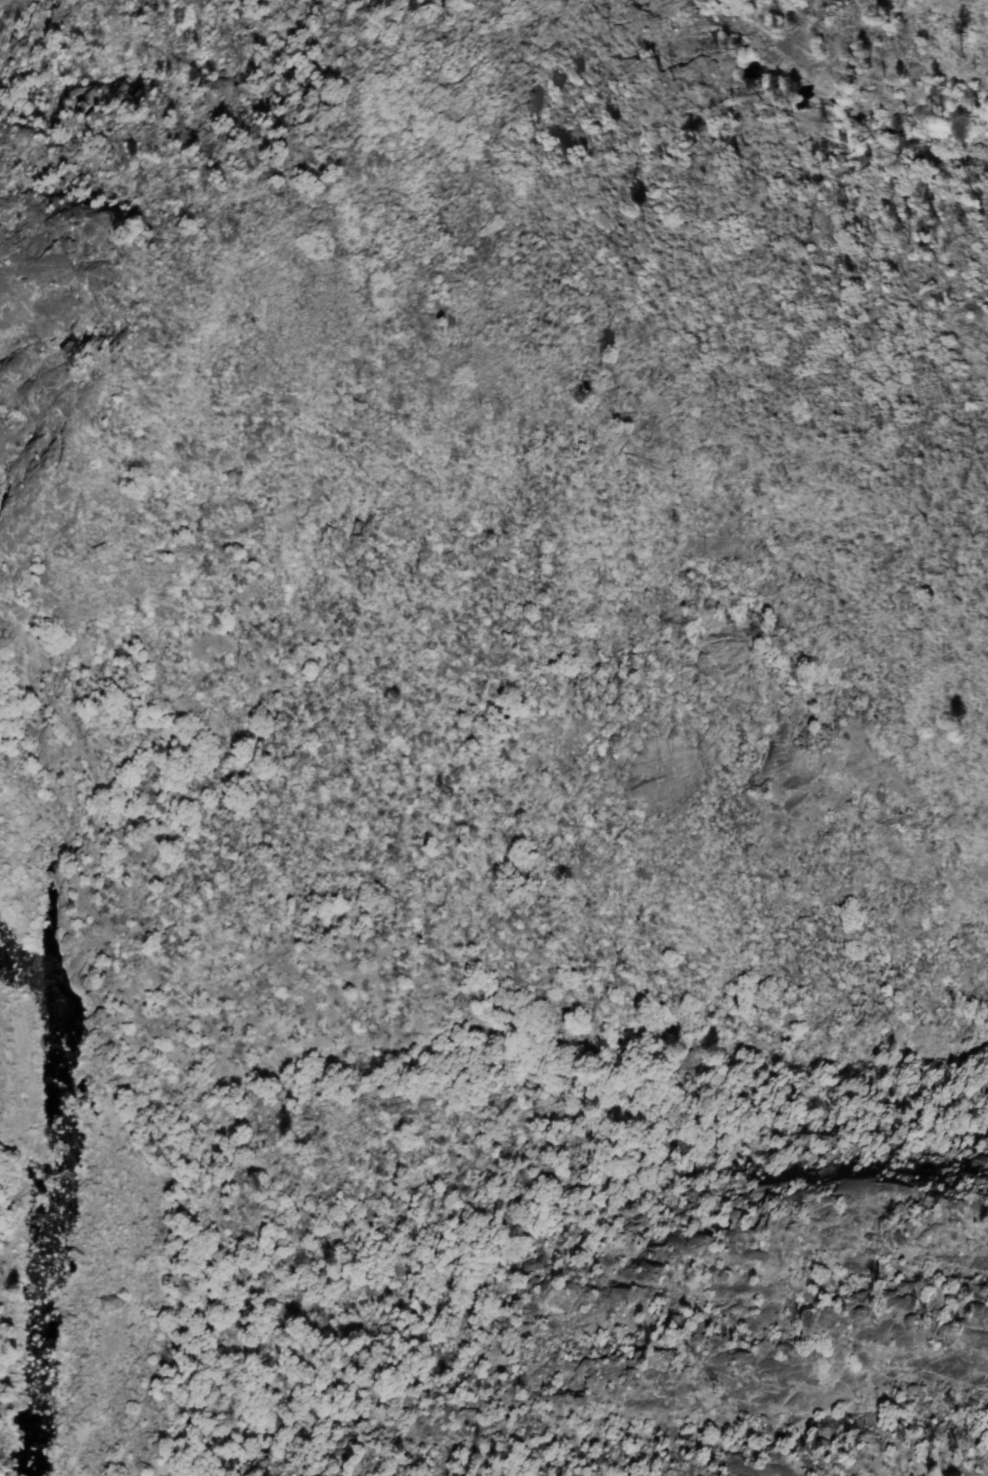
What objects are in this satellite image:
river: (48, 1238)

